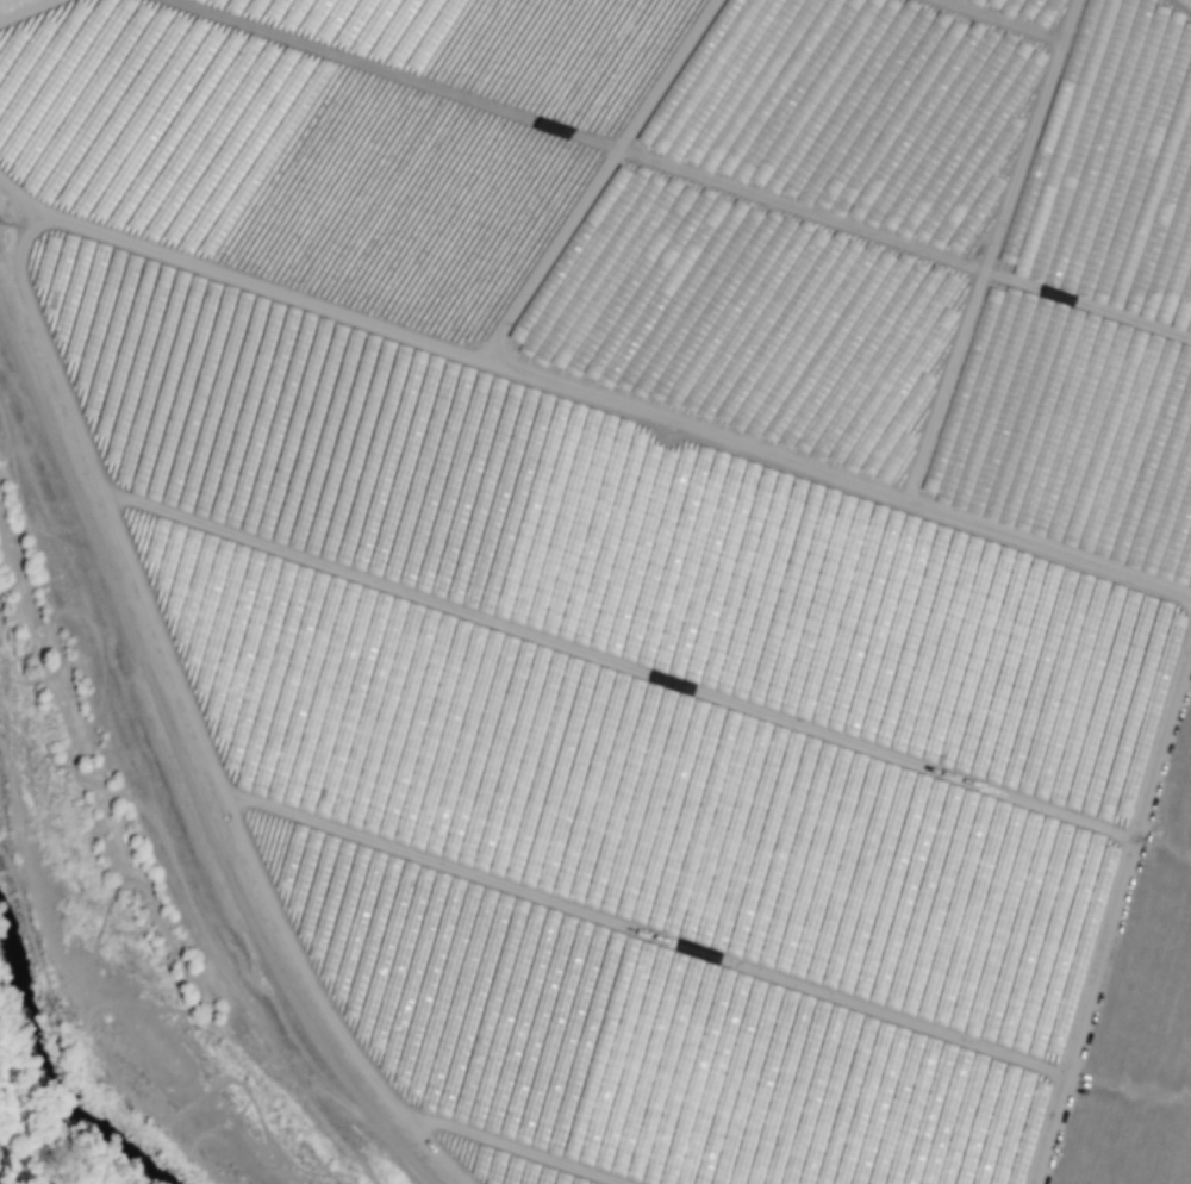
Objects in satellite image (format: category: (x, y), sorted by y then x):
road: (37, 14)
crop: (700, 212)
road: (591, 398)
road: (197, 719)
road: (1114, 921)
road: (1129, 1092)
river: (45, 1115)
crop: (5, 1171)

